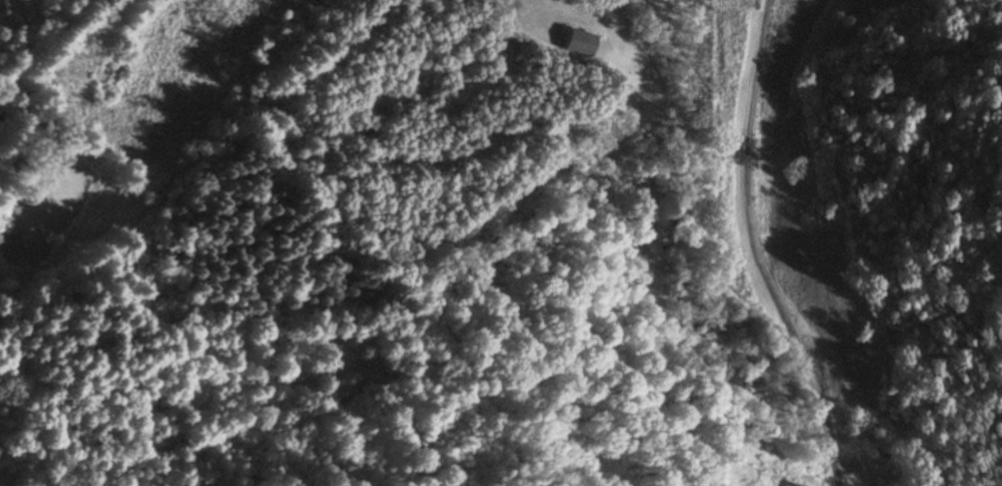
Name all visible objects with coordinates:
building: (577, 44)
road: (756, 251)

